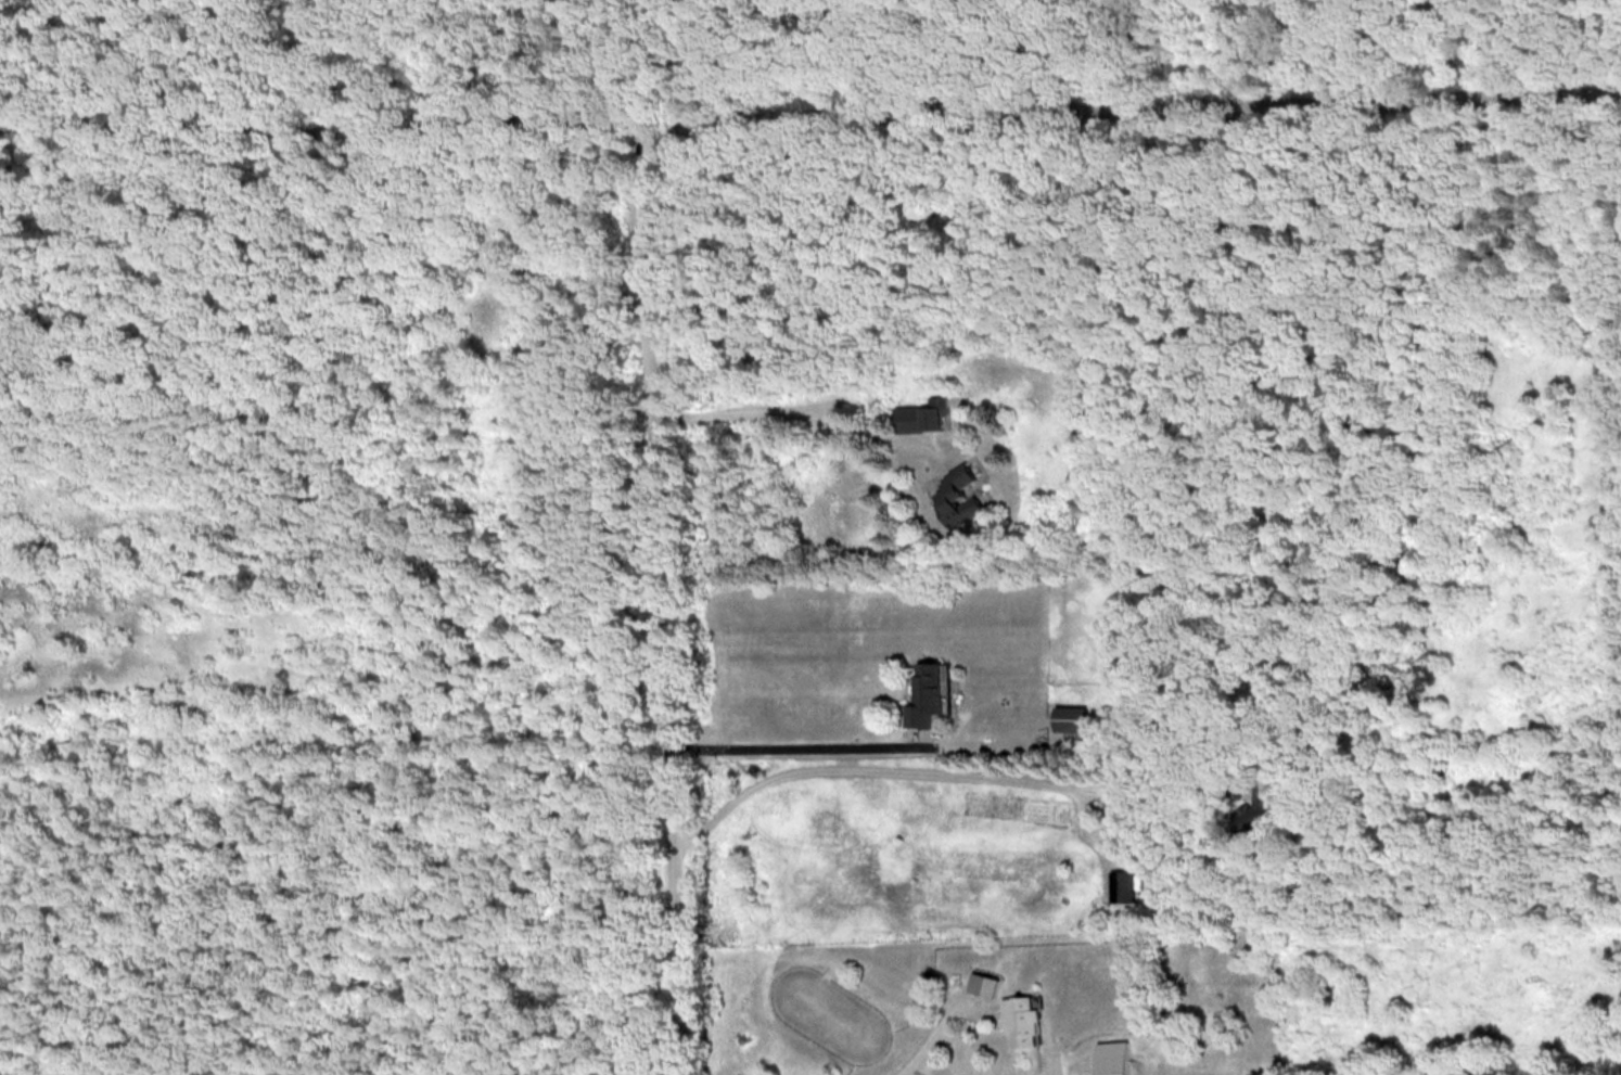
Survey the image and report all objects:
road: (1147, 107)
road: (336, 131)
road: (802, 412)
building: (919, 415)
park: (596, 421)
building: (955, 498)
road: (662, 592)
building: (927, 696)
building: (1069, 719)
road: (793, 747)
road: (936, 772)
building: (1250, 828)
building: (1123, 886)
building: (1028, 1022)
building: (1116, 1059)

